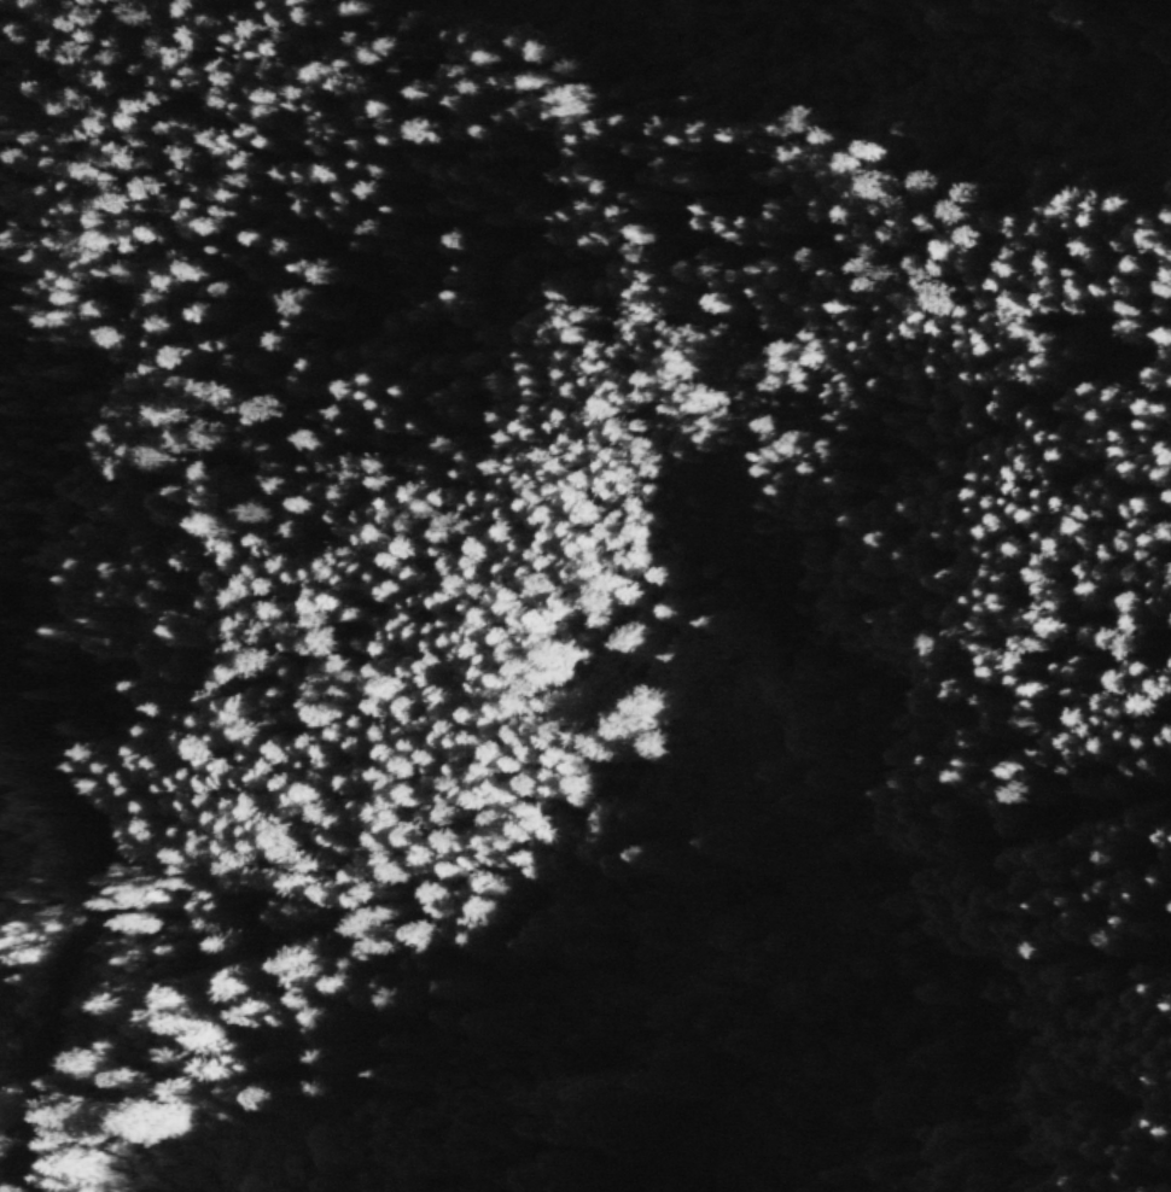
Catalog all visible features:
road: (40, 960)

